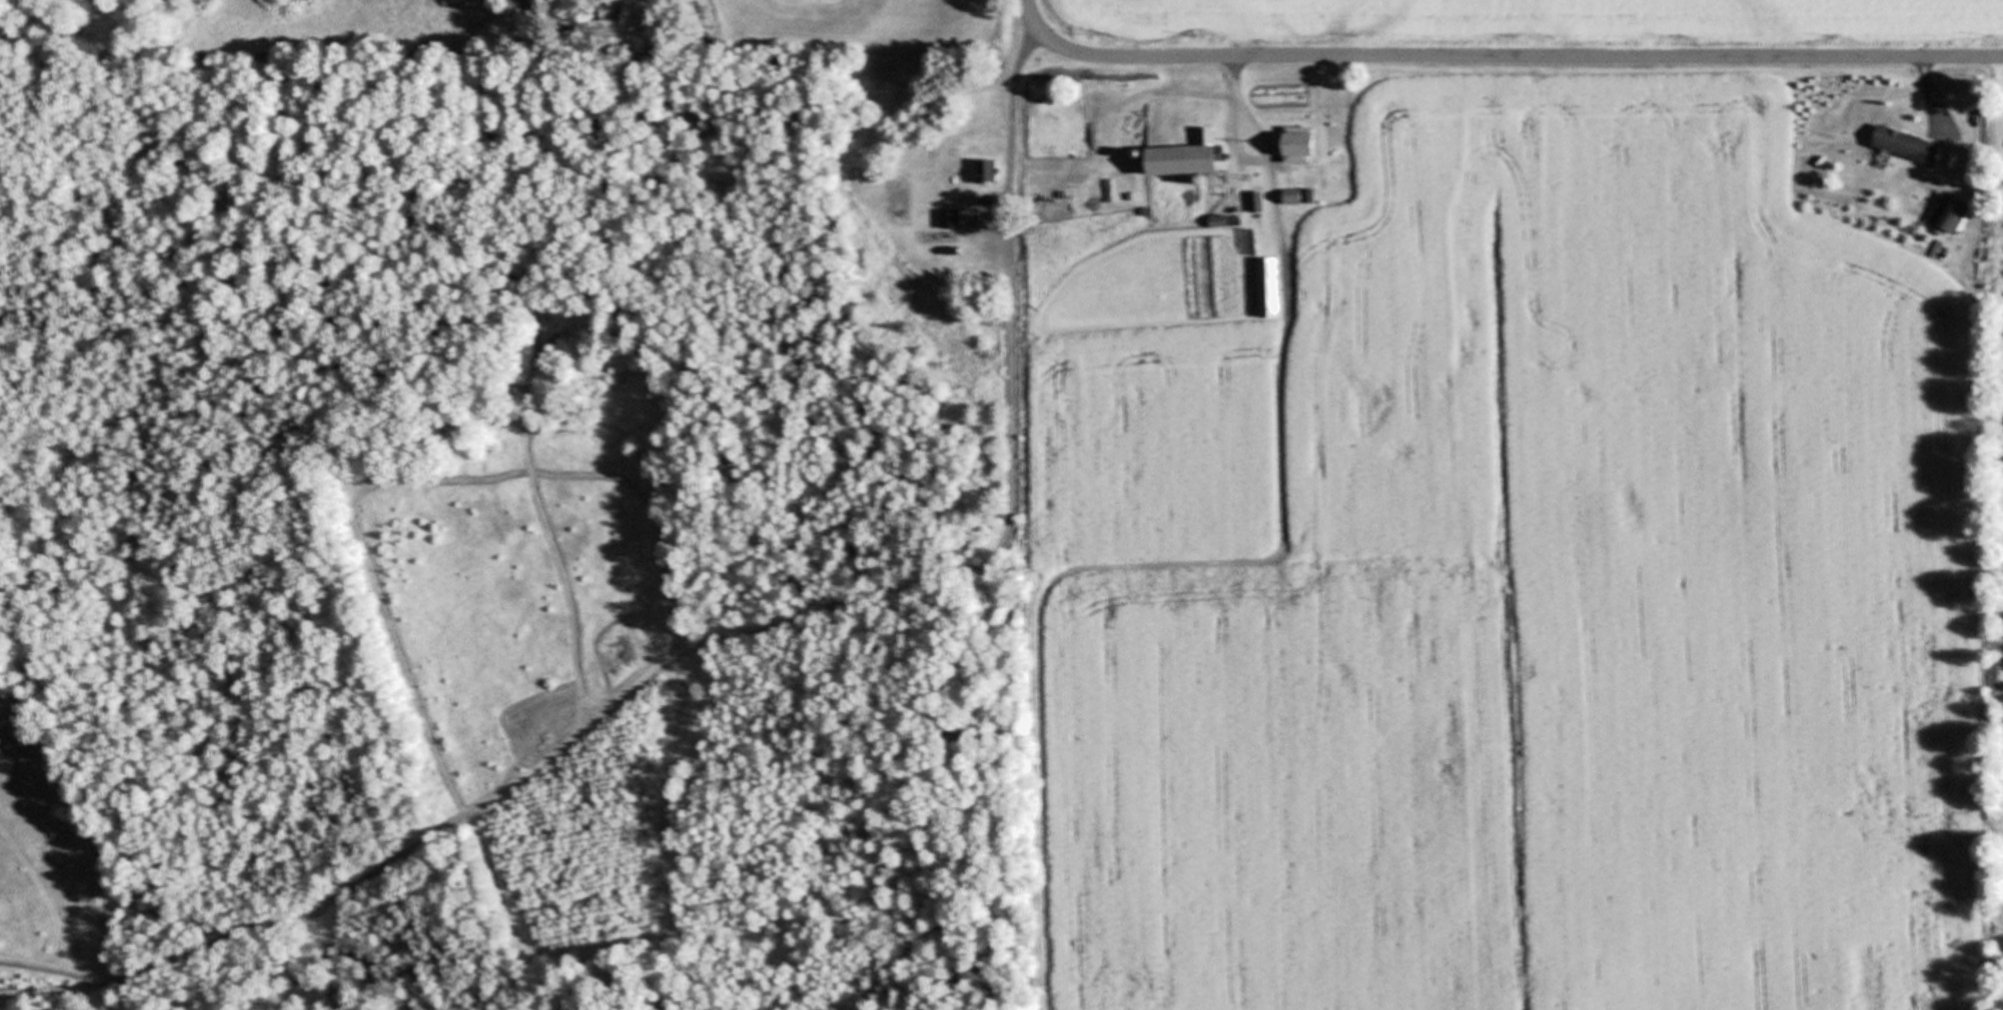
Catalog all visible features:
road: (1502, 54)
road: (1933, 90)
road: (1011, 117)
building: (1904, 143)
building: (1296, 145)
building: (1182, 154)
road: (1243, 157)
building: (987, 170)
building: (1256, 200)
building: (1227, 211)
building: (1946, 213)
building: (952, 218)
road: (1153, 565)

